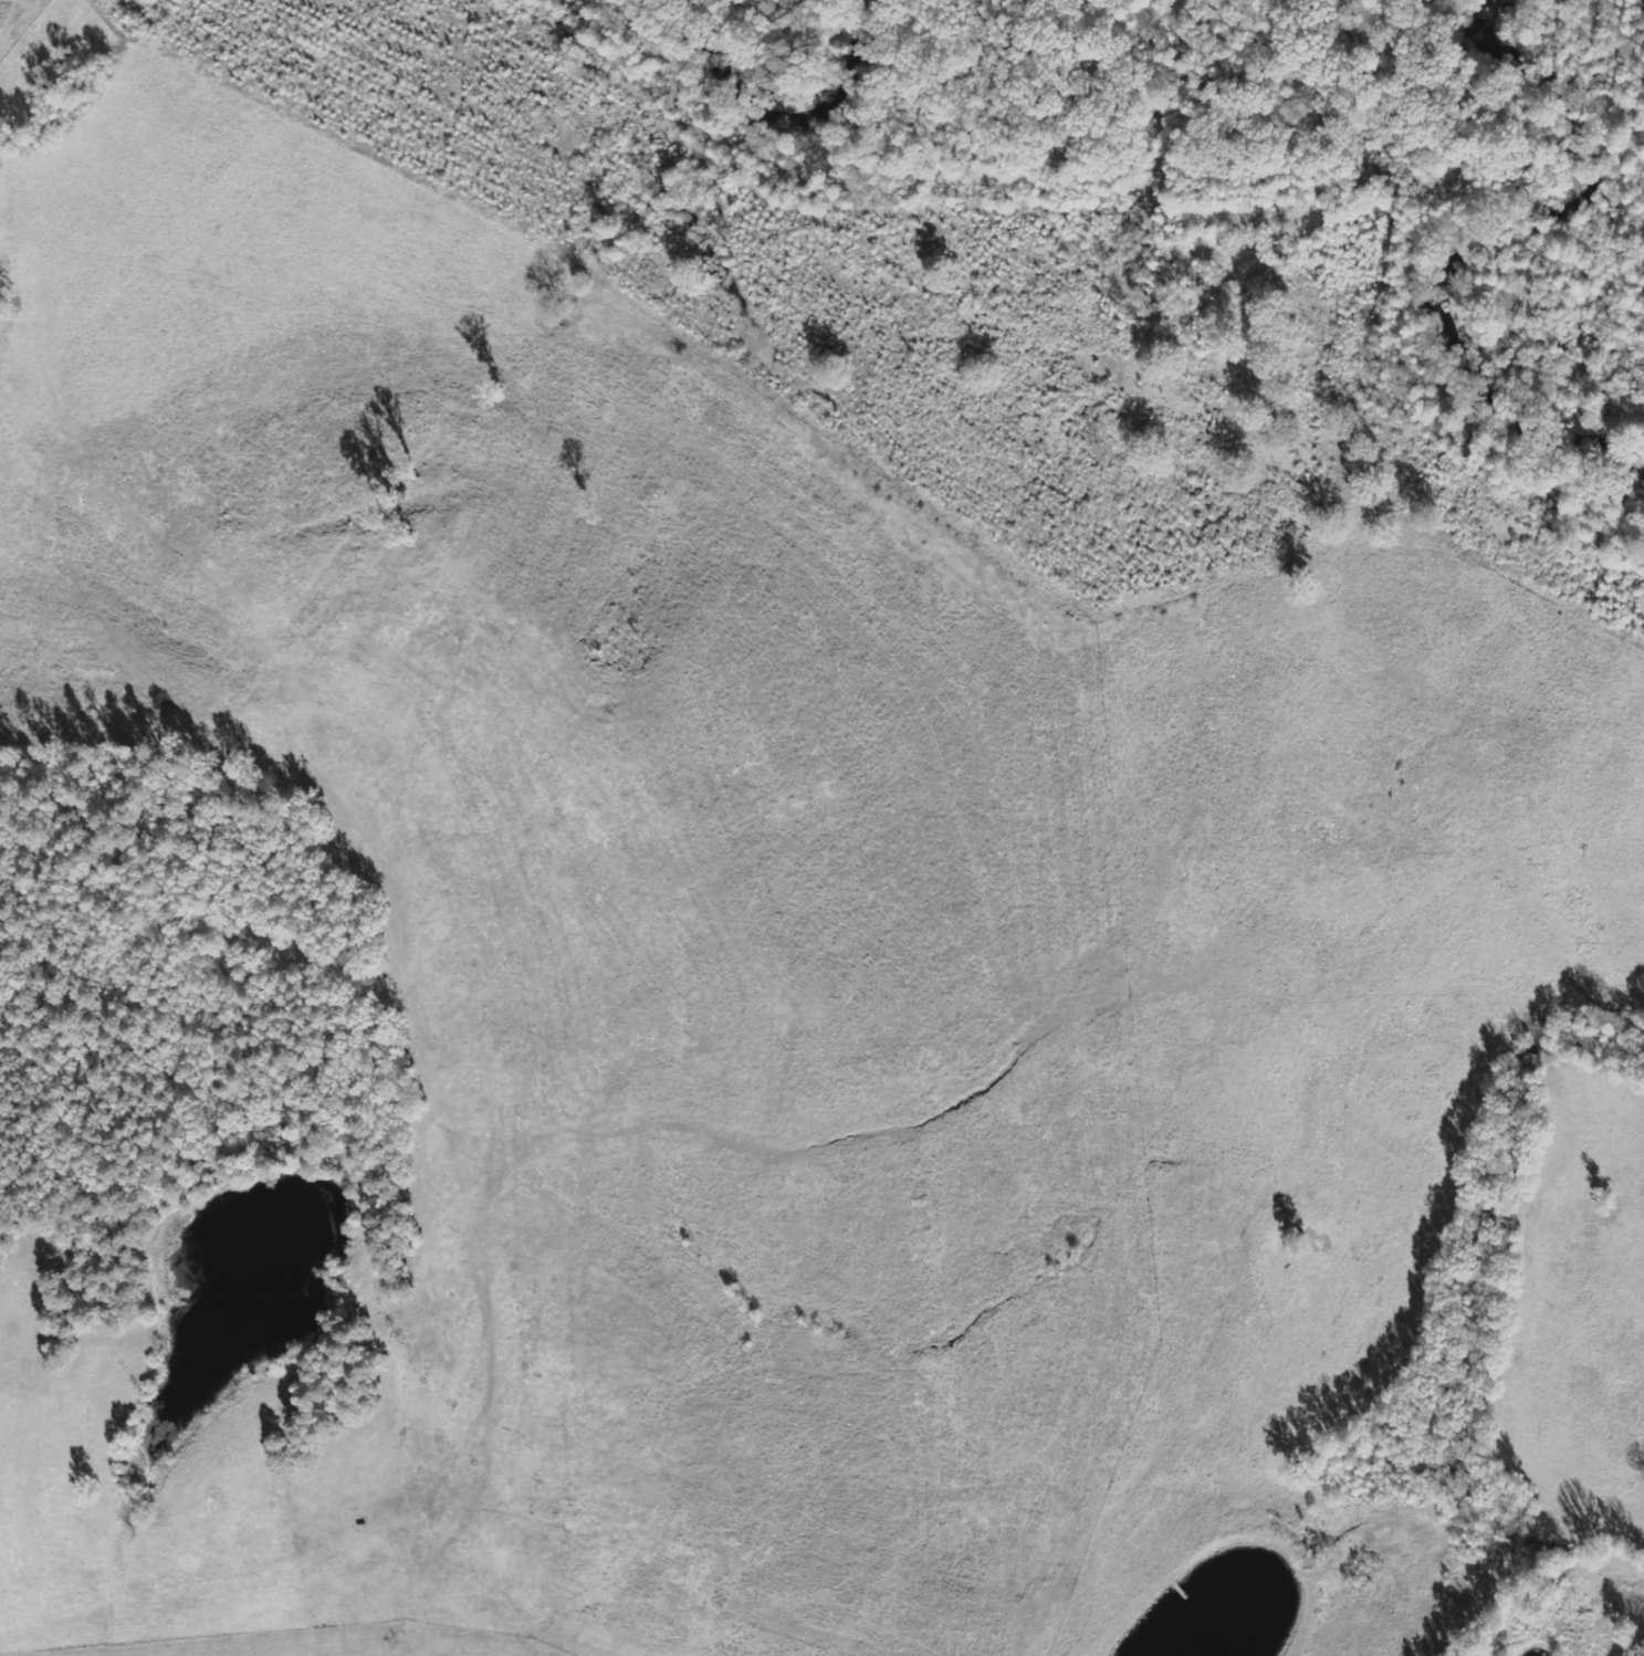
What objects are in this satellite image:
road: (1574, 1246)

